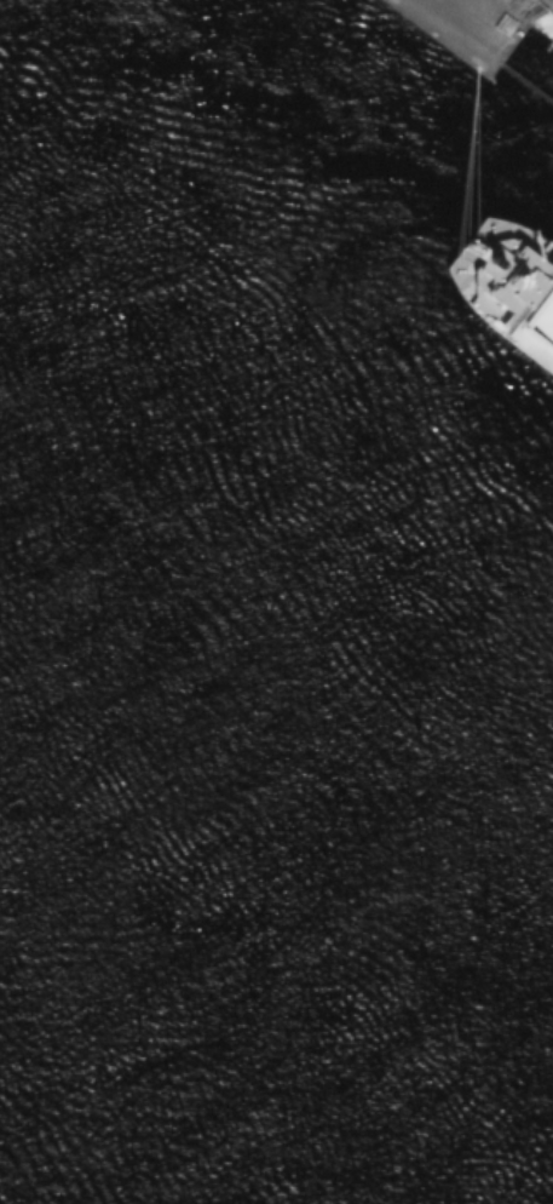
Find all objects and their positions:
pier: (462, 28)
pier: (523, 87)
river: (276, 996)

